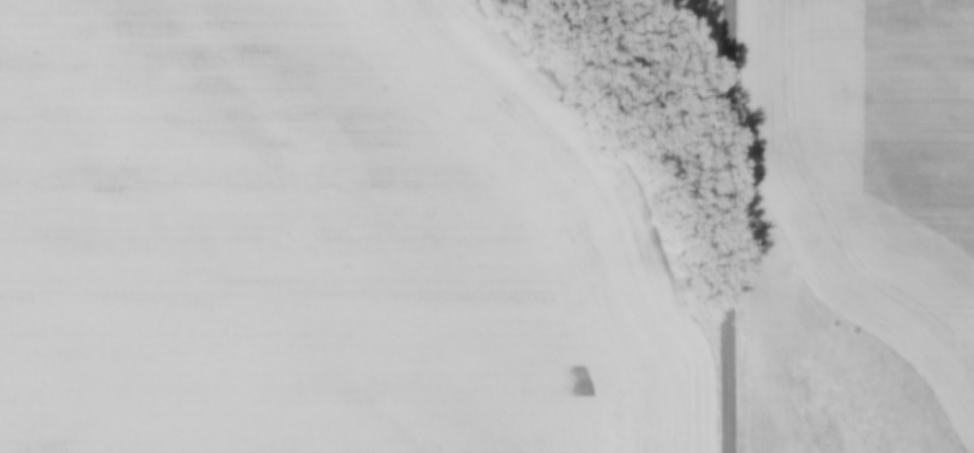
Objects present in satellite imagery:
road: (727, 226)

